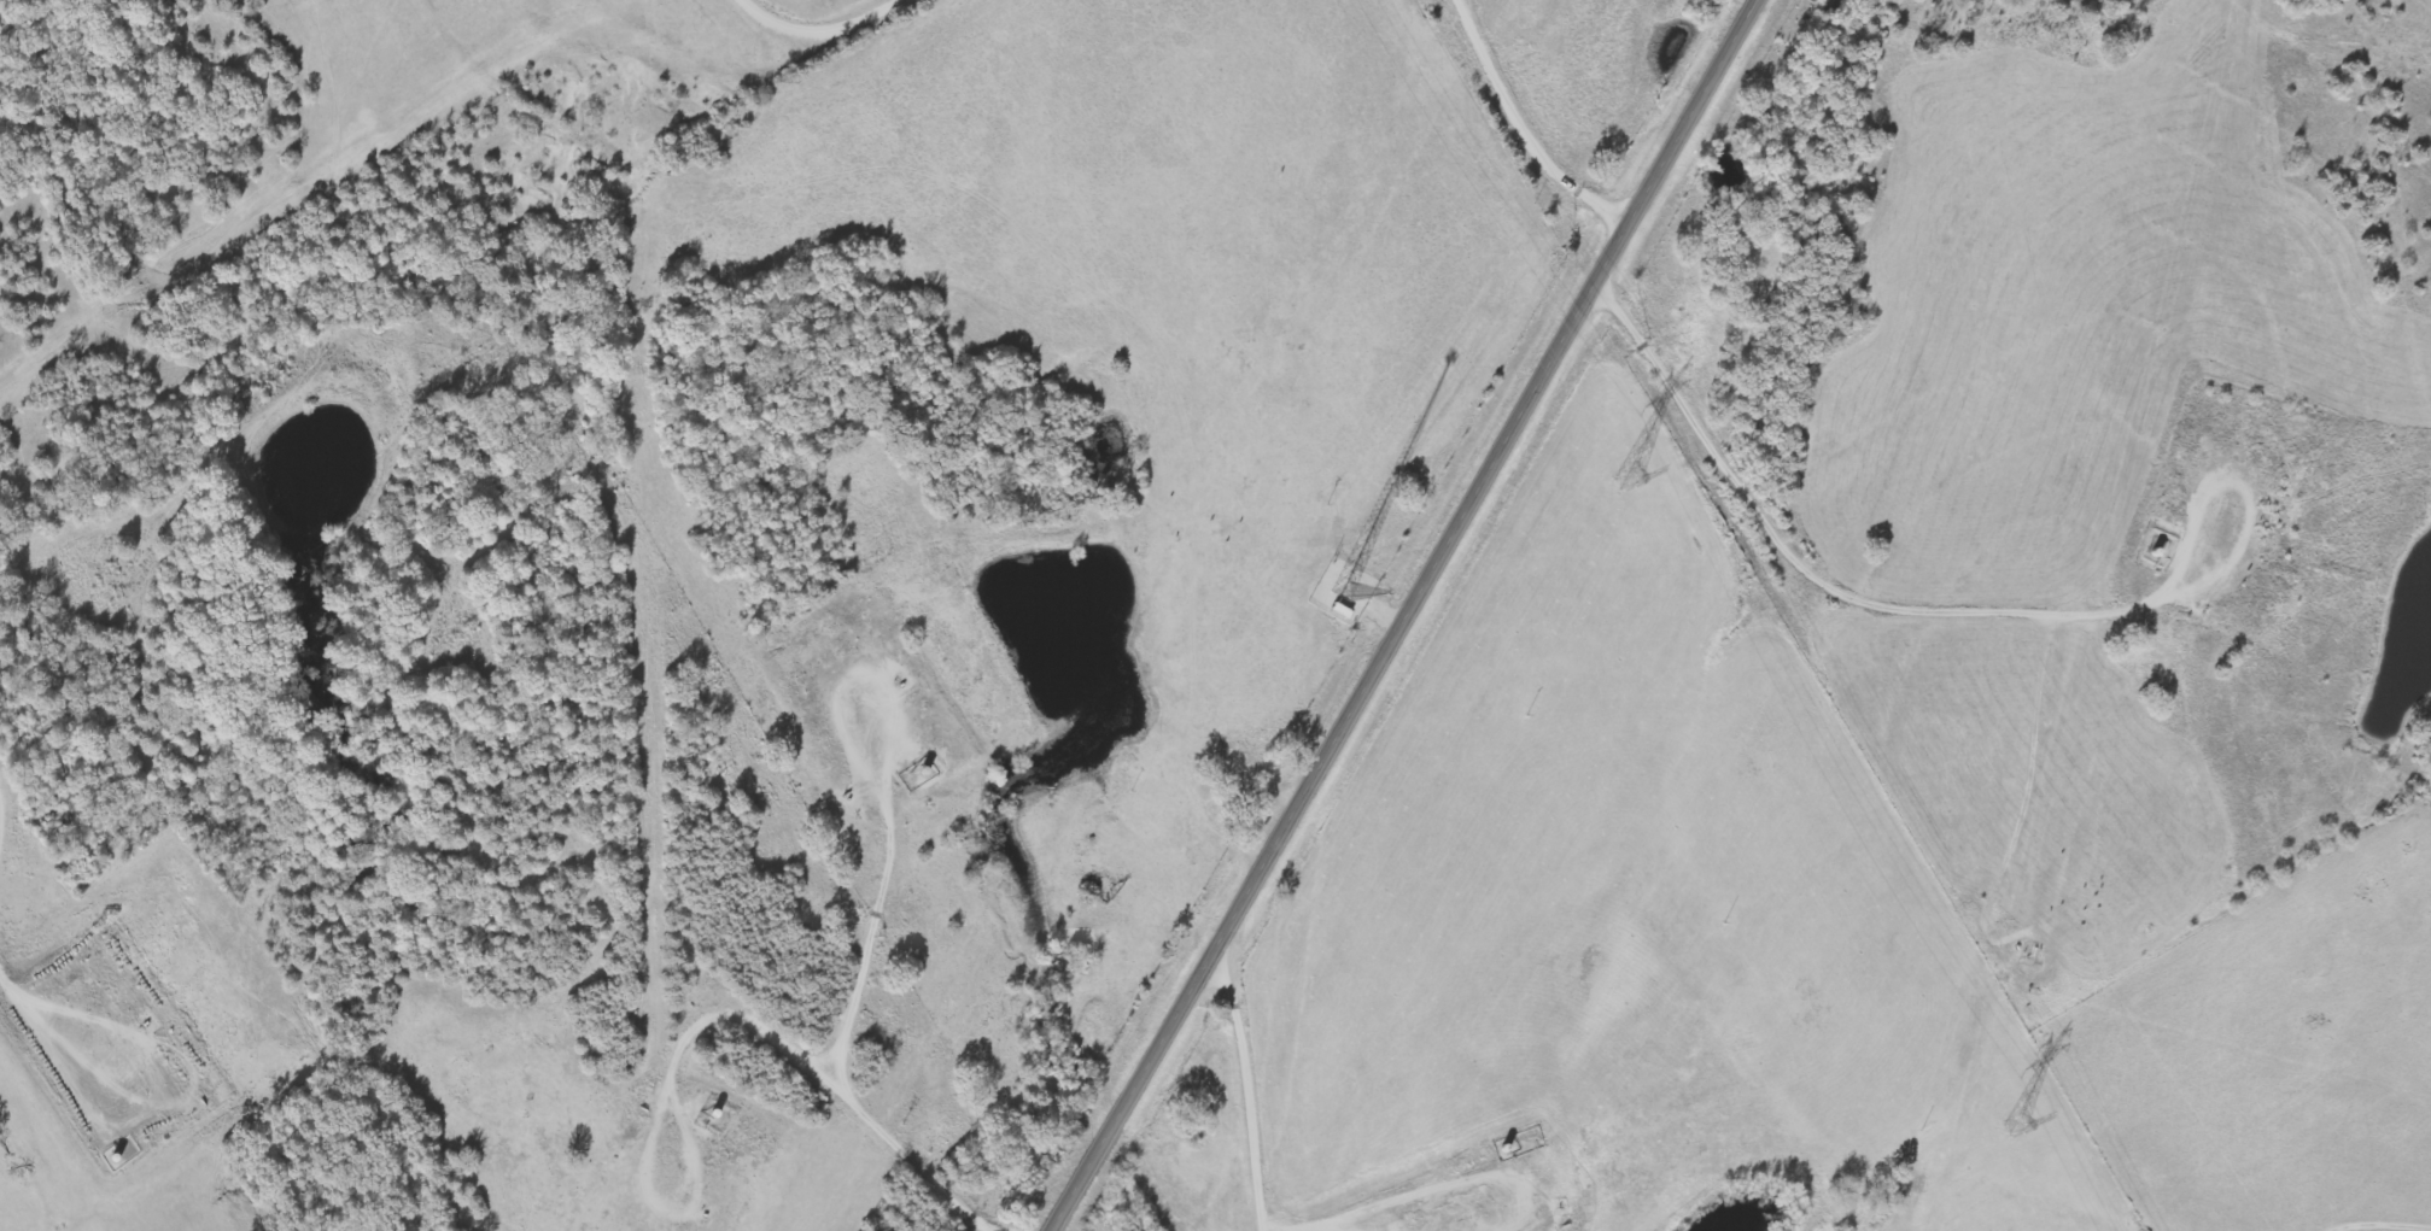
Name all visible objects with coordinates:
power tower: (1619, 476)
road: (1404, 615)
power tower: (2015, 1122)

